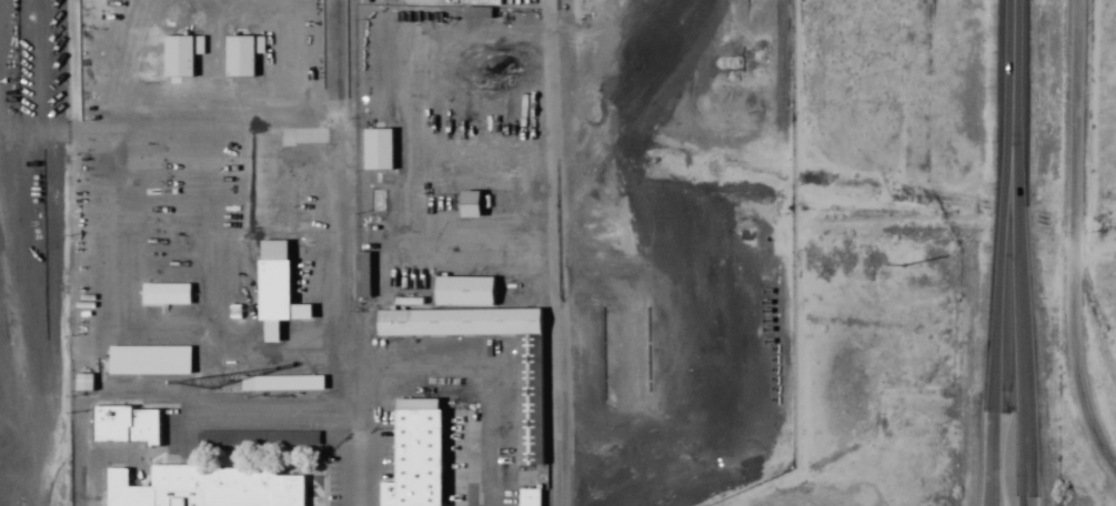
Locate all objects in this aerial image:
building: (474, 10)
road: (1011, 32)
building: (239, 53)
building: (175, 54)
building: (374, 146)
road: (1014, 184)
building: (466, 202)
building: (360, 273)
road: (995, 285)
building: (461, 289)
building: (163, 292)
building: (274, 297)
building: (148, 358)
building: (81, 381)
building: (273, 382)
road: (1021, 398)
building: (526, 399)
building: (124, 423)
building: (255, 437)
building: (413, 454)
road: (987, 459)
building: (204, 487)
building: (526, 496)
road: (1022, 499)
road: (1023, 499)

